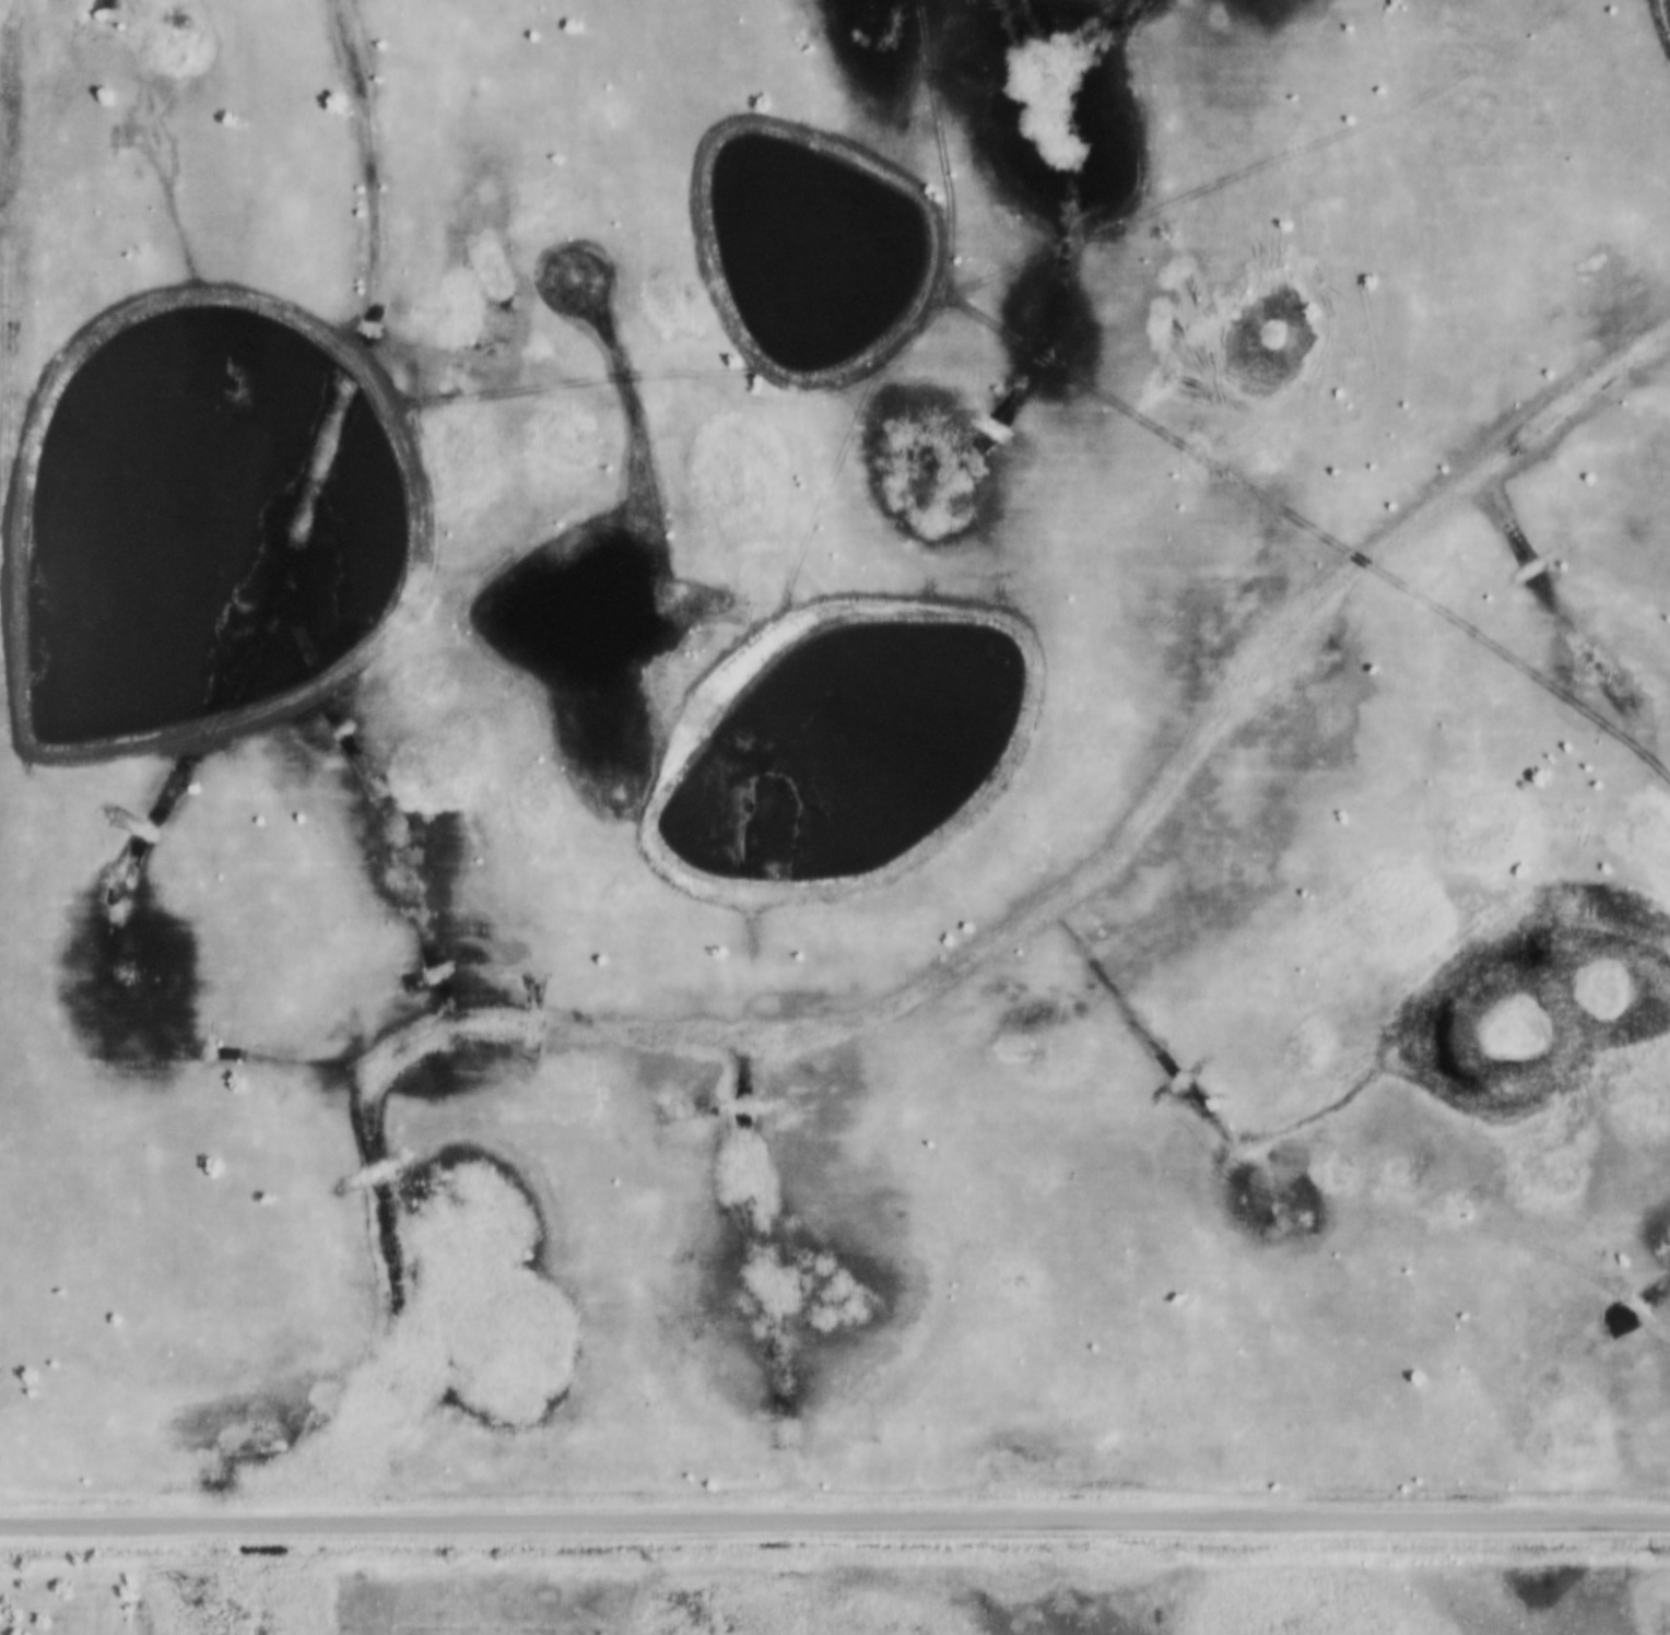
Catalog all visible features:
road: (834, 1519)

